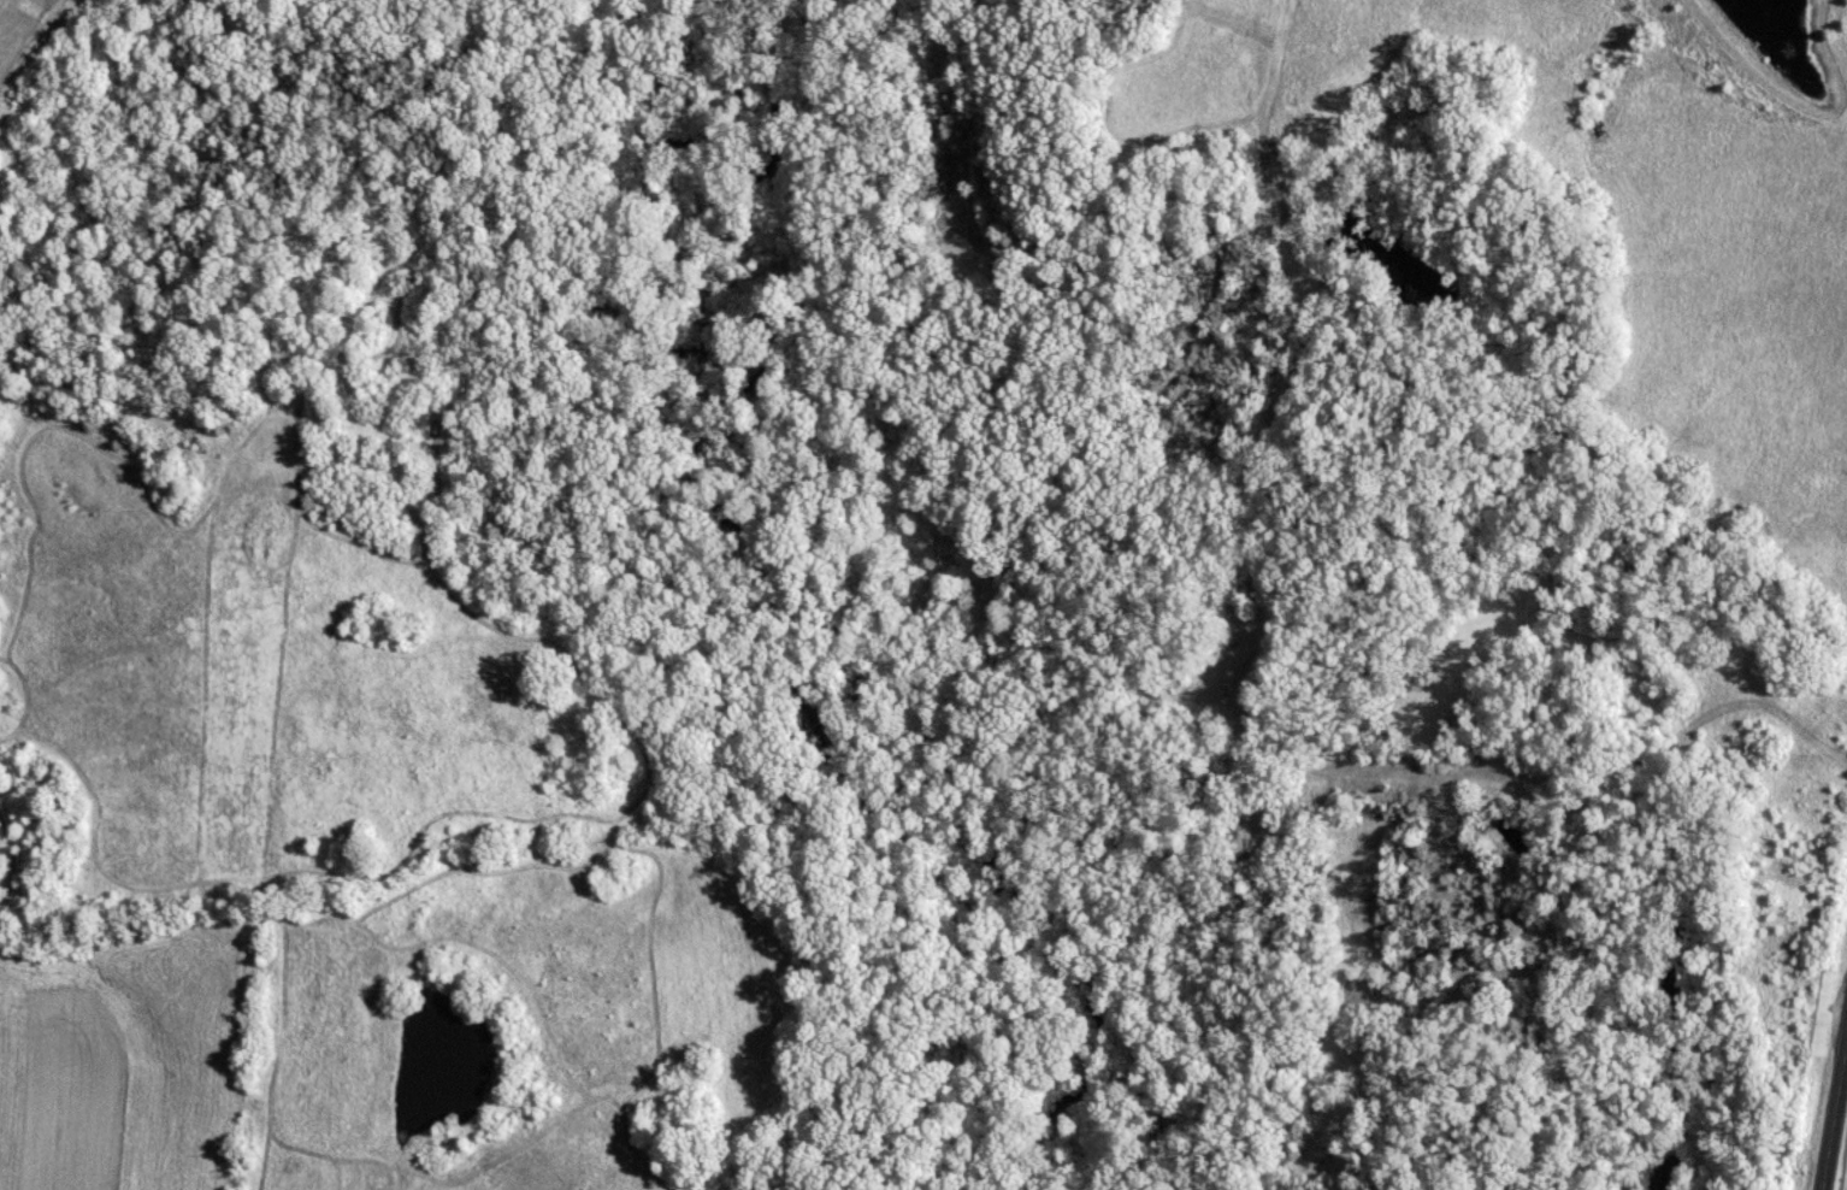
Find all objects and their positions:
road: (1644, 770)
road: (1833, 1104)

